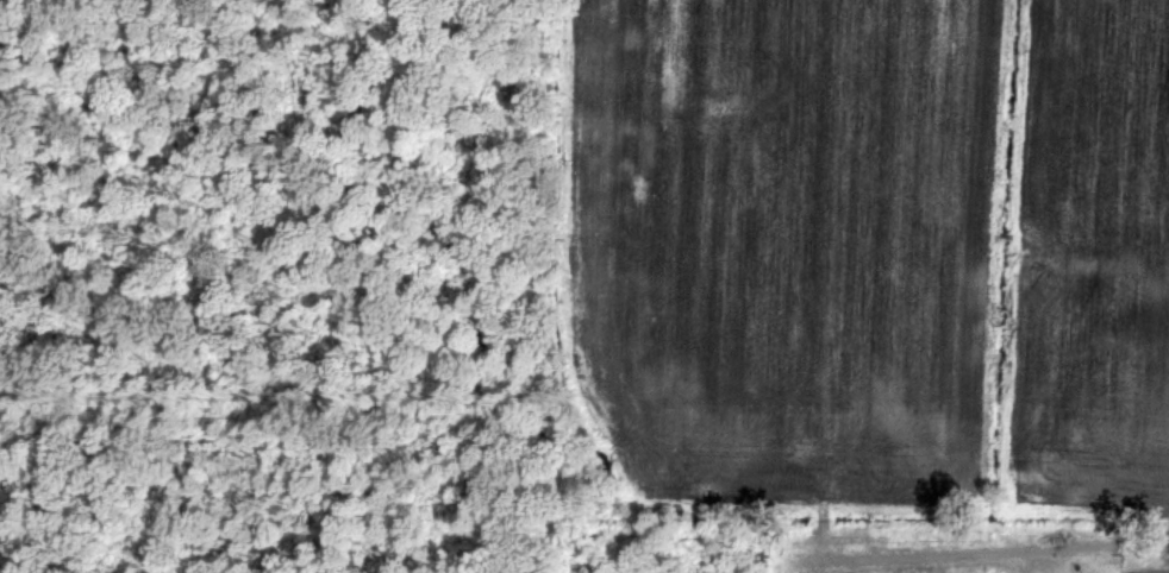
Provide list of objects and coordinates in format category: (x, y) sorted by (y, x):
road: (988, 555)

